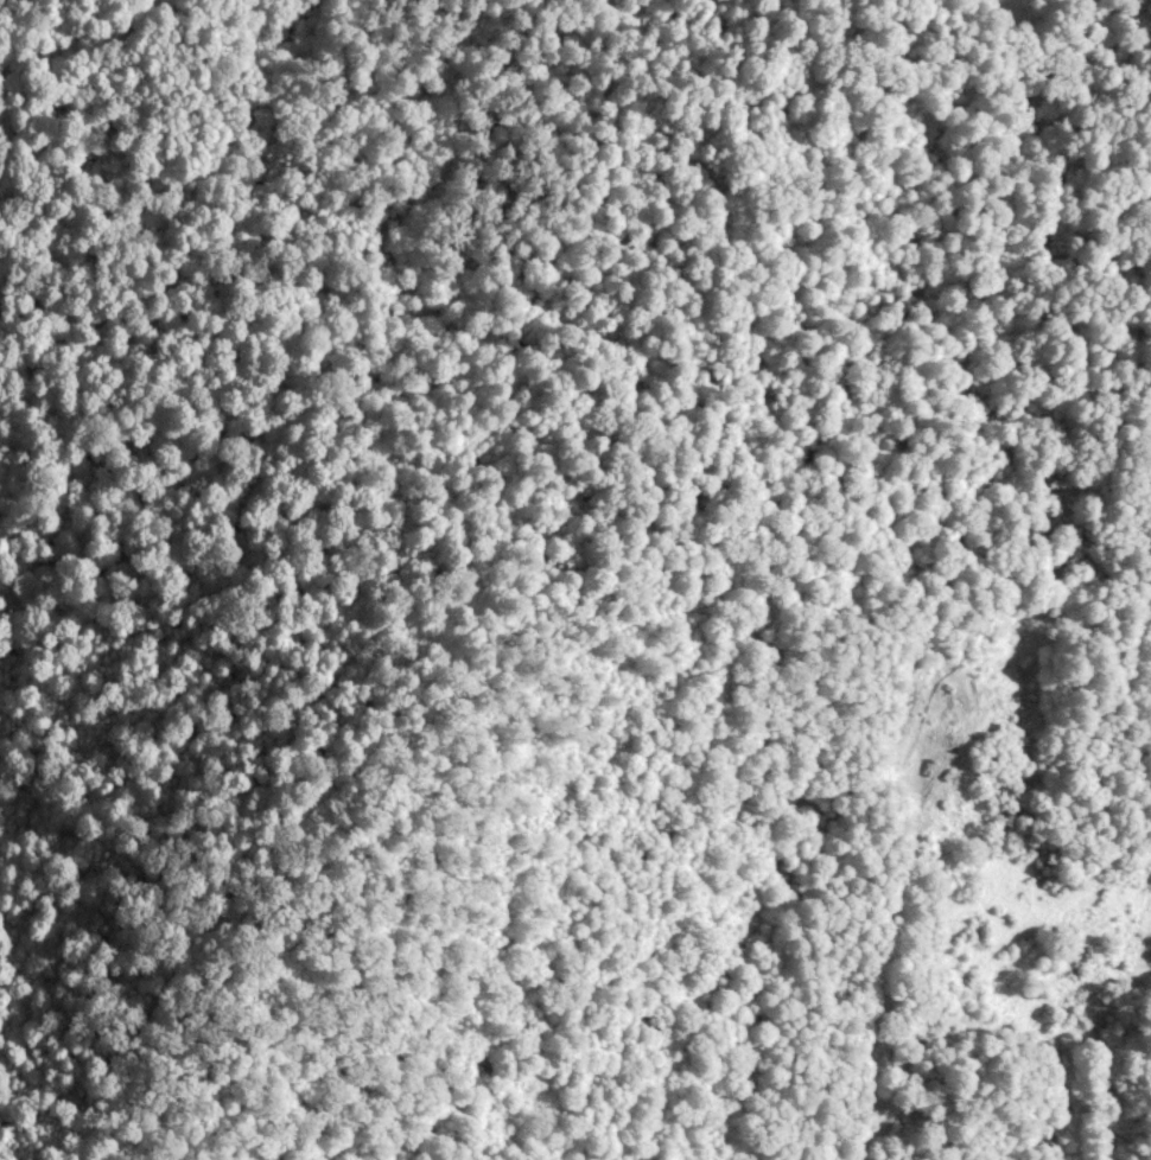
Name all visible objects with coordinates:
road: (933, 1044)

